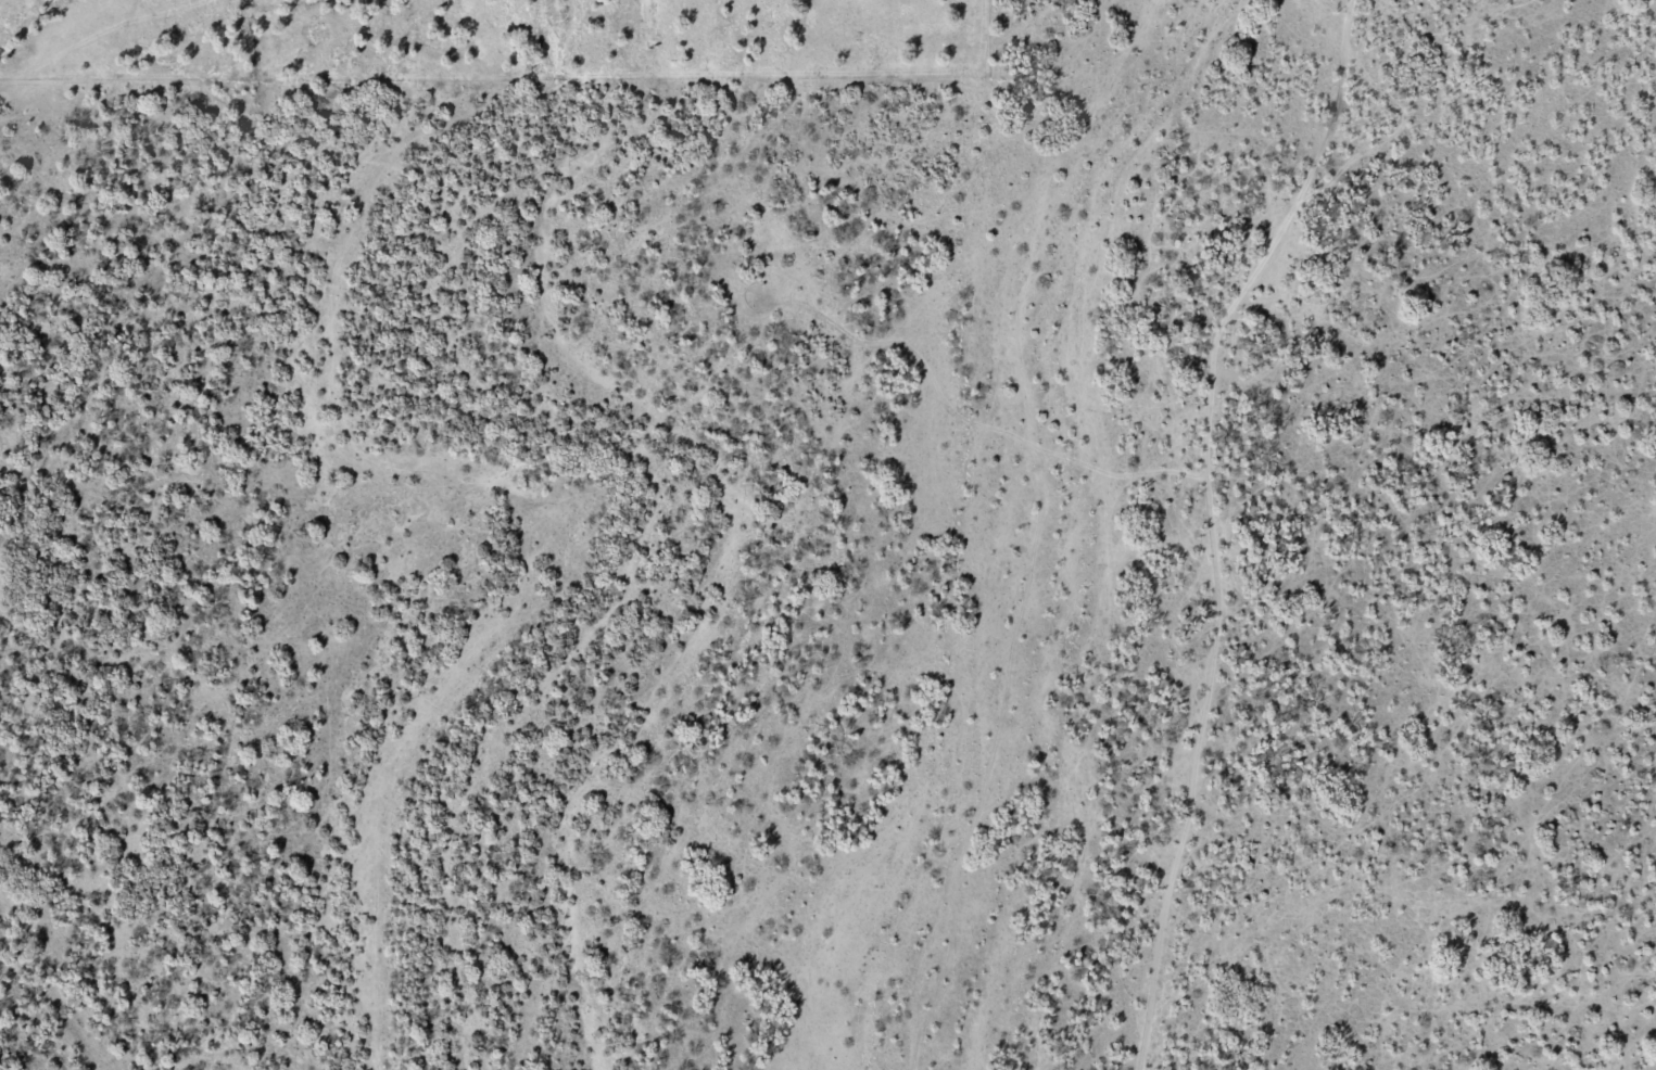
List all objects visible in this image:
road: (1208, 524)

